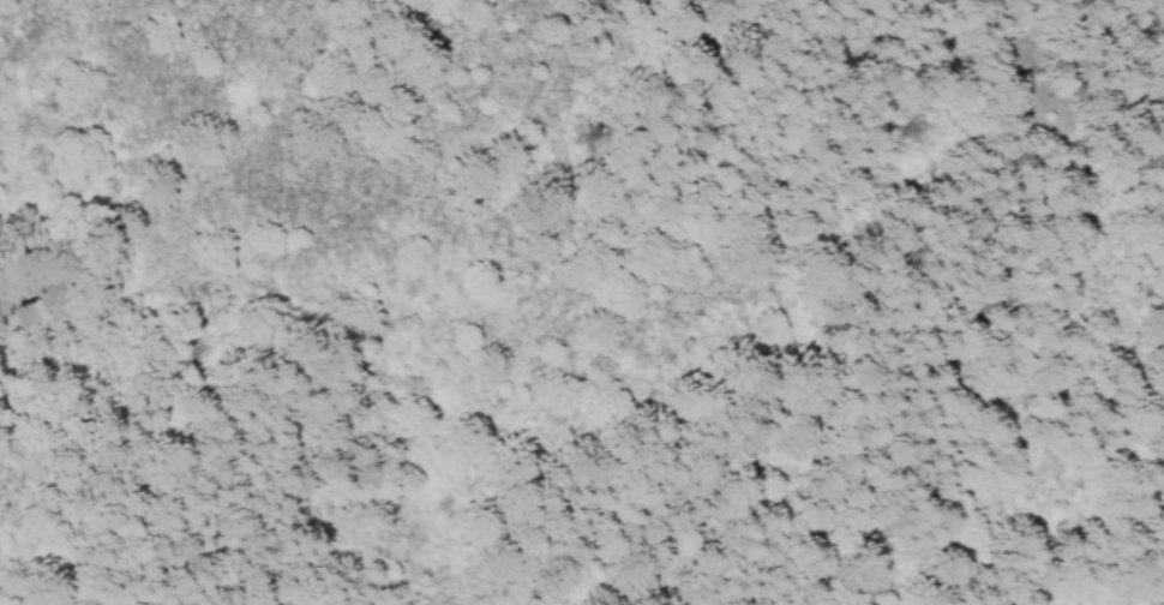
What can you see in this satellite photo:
road: (1044, 233)

